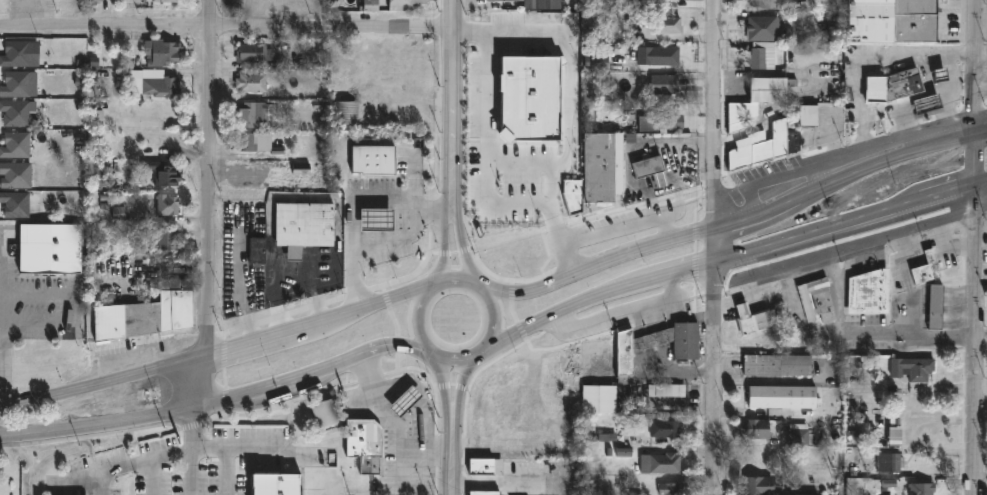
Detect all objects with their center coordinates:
building: (162, 0)
building: (667, 0)
building: (406, 1)
building: (502, 1)
building: (90, 2)
building: (533, 4)
building: (772, 4)
building: (890, 20)
building: (501, 23)
building: (668, 25)
road: (225, 27)
building: (761, 28)
building: (161, 52)
building: (250, 52)
building: (14, 53)
building: (656, 55)
road: (981, 55)
building: (510, 56)
building: (757, 60)
road: (865, 61)
building: (399, 63)
building: (594, 63)
road: (974, 69)
building: (249, 82)
road: (928, 82)
road: (951, 82)
building: (156, 83)
building: (14, 84)
building: (661, 84)
building: (901, 84)
building: (504, 87)
road: (454, 98)
building: (755, 100)
building: (534, 102)
building: (924, 103)
building: (14, 113)
building: (249, 114)
building: (344, 114)
building: (408, 117)
building: (494, 117)
road: (911, 117)
building: (658, 122)
road: (951, 127)
building: (787, 135)
road: (980, 136)
building: (244, 143)
building: (14, 144)
building: (497, 148)
road: (494, 156)
building: (372, 157)
building: (600, 166)
building: (648, 169)
building: (161, 173)
building: (14, 175)
building: (247, 176)
road: (212, 181)
building: (506, 185)
road: (354, 203)
road: (459, 203)
building: (165, 204)
building: (14, 205)
building: (554, 206)
building: (375, 217)
gas station: (375, 217)
building: (495, 223)
building: (301, 224)
road: (738, 228)
building: (164, 238)
road: (946, 243)
road: (722, 247)
road: (921, 247)
building: (46, 248)
road: (452, 248)
road: (472, 248)
building: (254, 251)
building: (399, 252)
road: (290, 262)
road: (737, 264)
building: (924, 269)
road: (906, 280)
road: (466, 284)
road: (446, 290)
road: (835, 290)
road: (488, 292)
building: (867, 292)
building: (815, 300)
building: (933, 307)
building: (142, 313)
road: (794, 313)
road: (975, 316)
building: (750, 320)
road: (426, 321)
road: (504, 324)
road: (321, 329)
road: (908, 335)
road: (2, 354)
road: (489, 356)
road: (443, 357)
building: (684, 357)
road: (466, 363)
building: (775, 365)
building: (911, 369)
road: (317, 379)
road: (199, 384)
road: (101, 387)
building: (665, 390)
building: (780, 397)
road: (470, 398)
building: (404, 399)
road: (453, 399)
building: (596, 399)
building: (322, 413)
road: (98, 422)
road: (394, 427)
building: (664, 429)
building: (755, 429)
building: (798, 437)
building: (361, 438)
road: (211, 448)
road: (248, 448)
road: (194, 450)
road: (156, 459)
road: (400, 463)
building: (889, 463)
building: (659, 464)
road: (459, 466)
road: (100, 471)
building: (484, 472)
road: (101, 483)
building: (275, 483)
building: (761, 485)
road: (503, 489)
building: (668, 489)
building: (920, 489)
building: (486, 492)
building: (808, 493)

